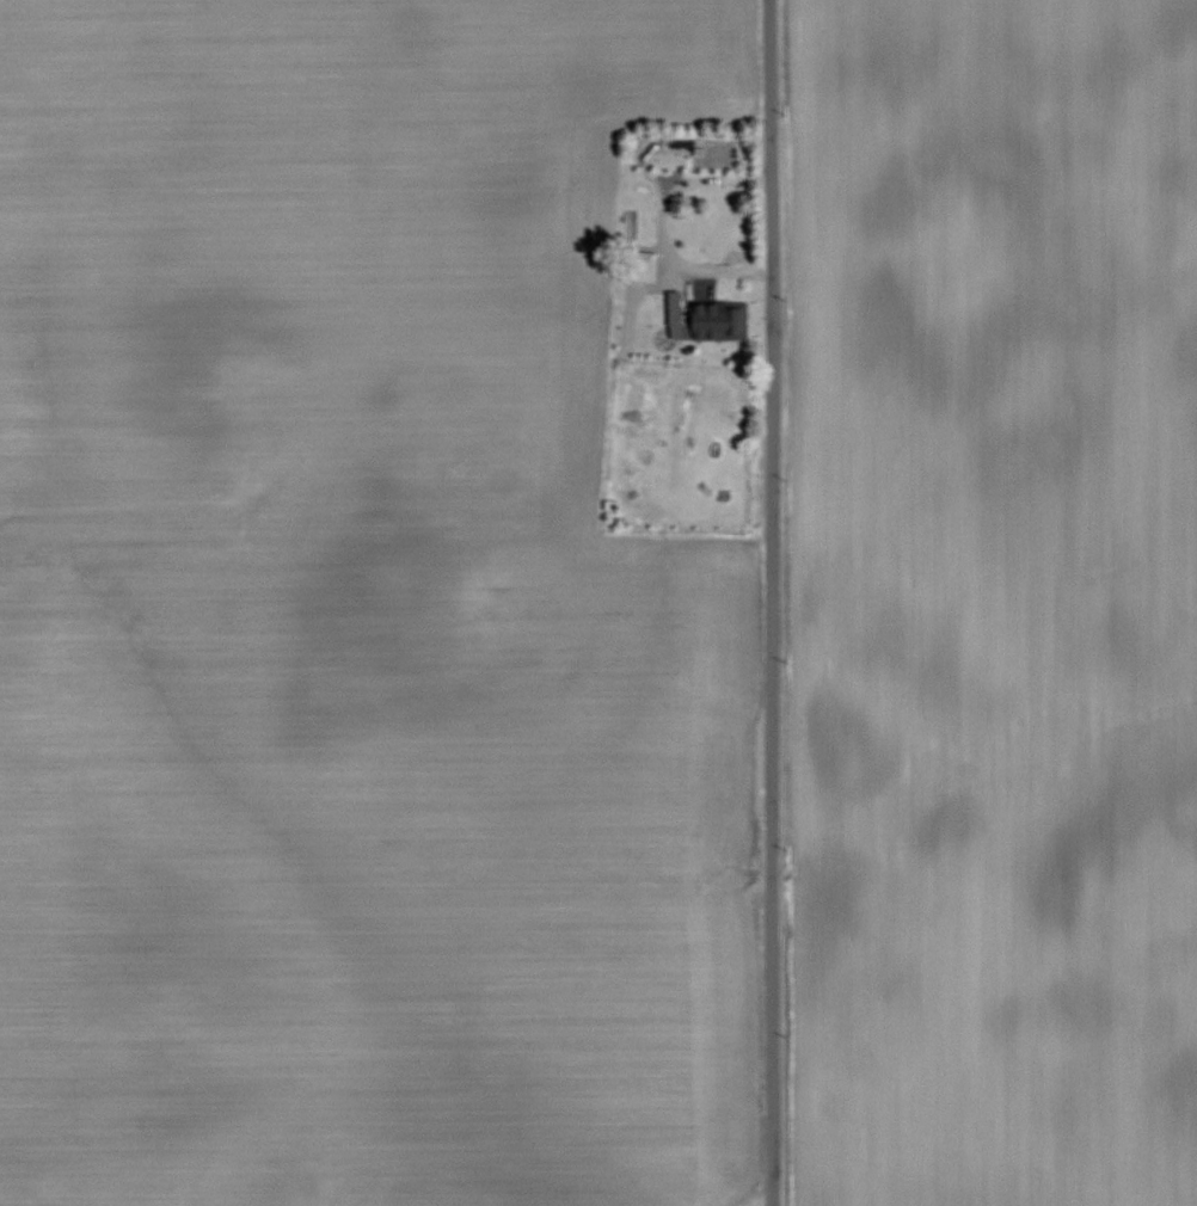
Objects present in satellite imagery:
building: (671, 307)
building: (716, 320)
road: (772, 602)

